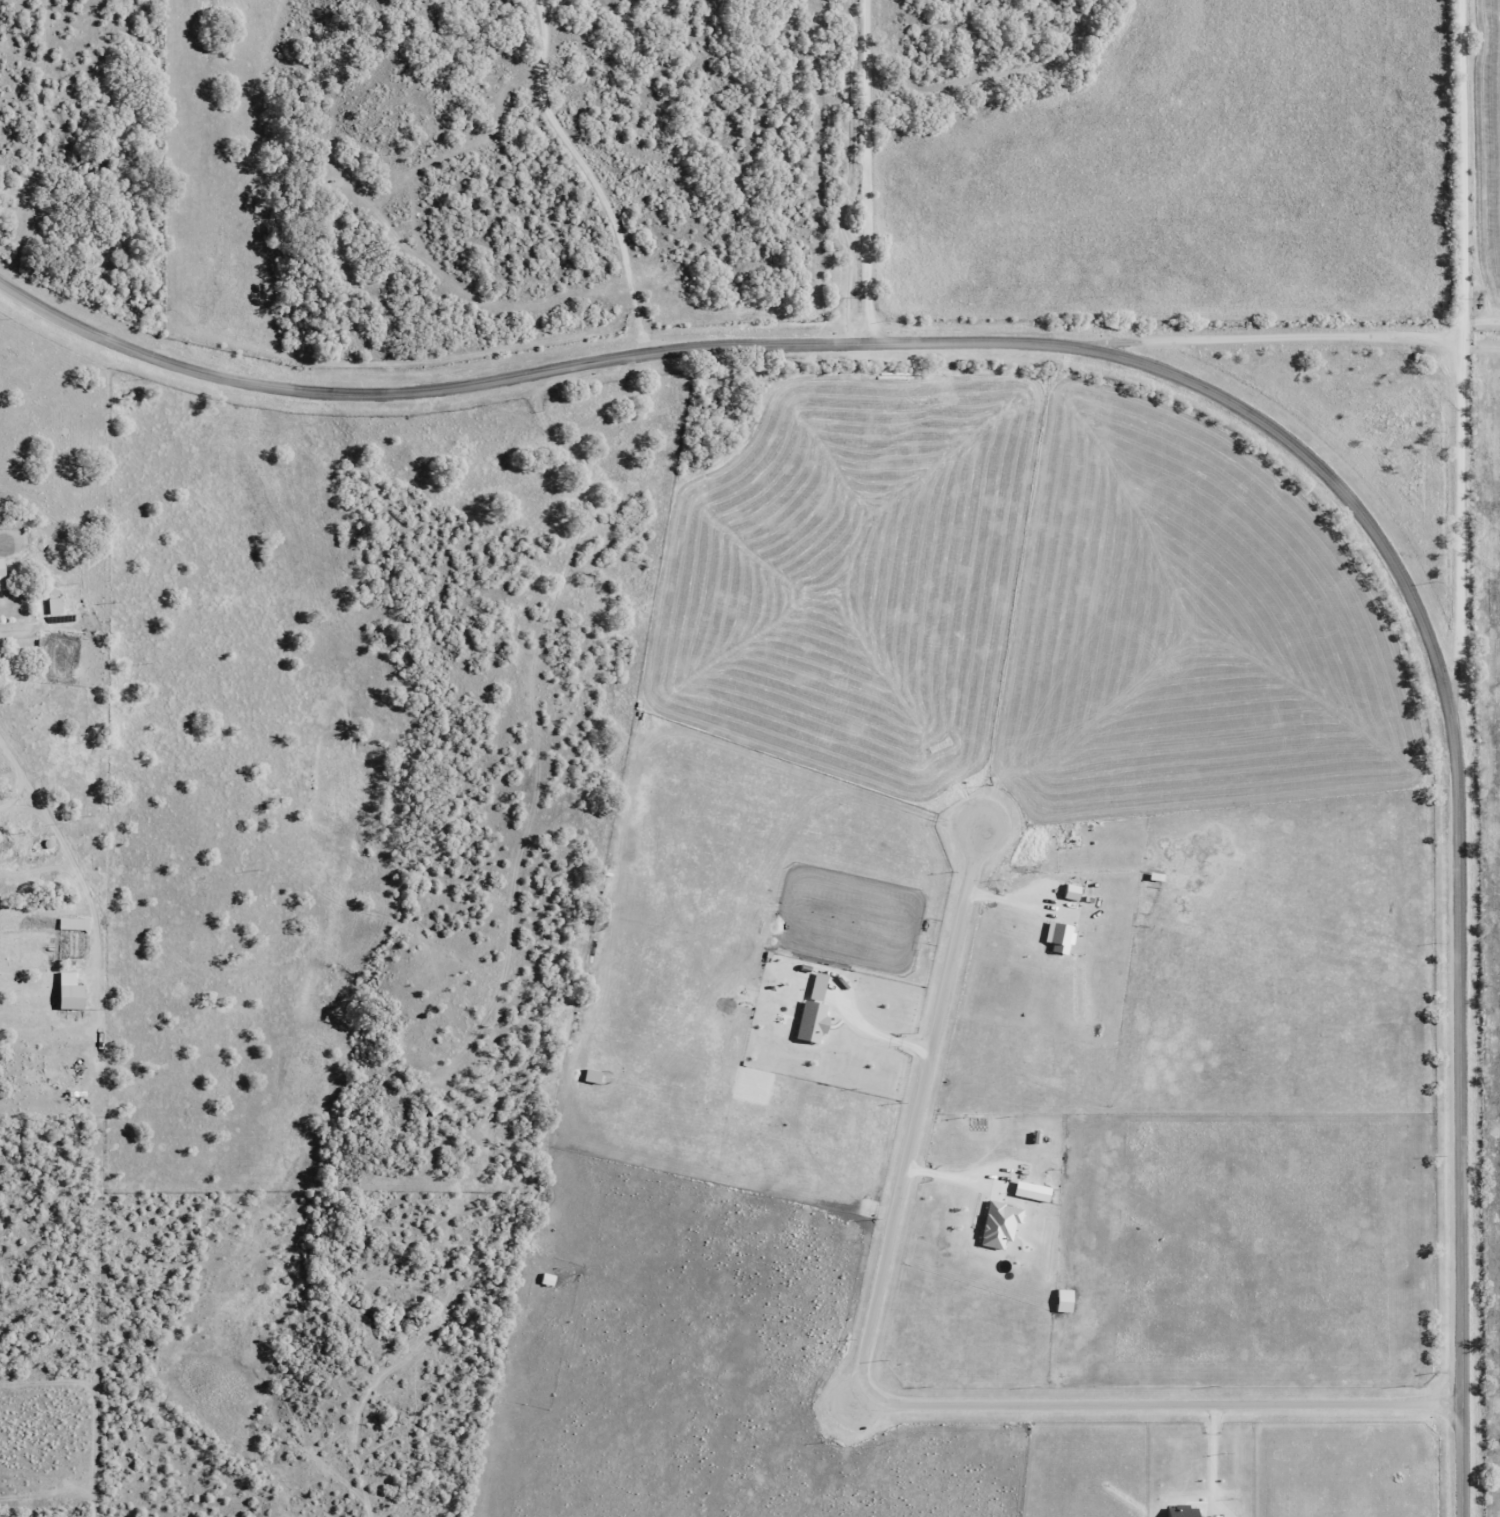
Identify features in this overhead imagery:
road: (872, 171)
road: (1482, 321)
road: (1284, 341)
road: (1462, 355)
road: (1480, 384)
road: (1198, 386)
building: (7, 574)
building: (52, 606)
road: (62, 819)
building: (71, 923)
road: (872, 1402)

